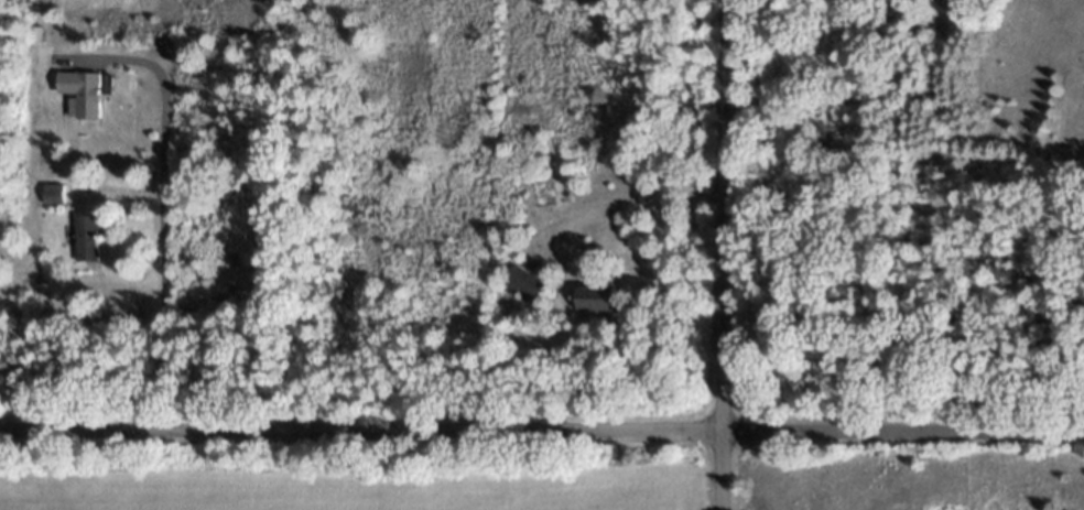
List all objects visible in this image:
building: (87, 100)
road: (159, 199)
building: (58, 202)
road: (622, 202)
building: (10, 232)
building: (90, 246)
road: (722, 254)
building: (528, 292)
building: (601, 306)
road: (542, 428)

